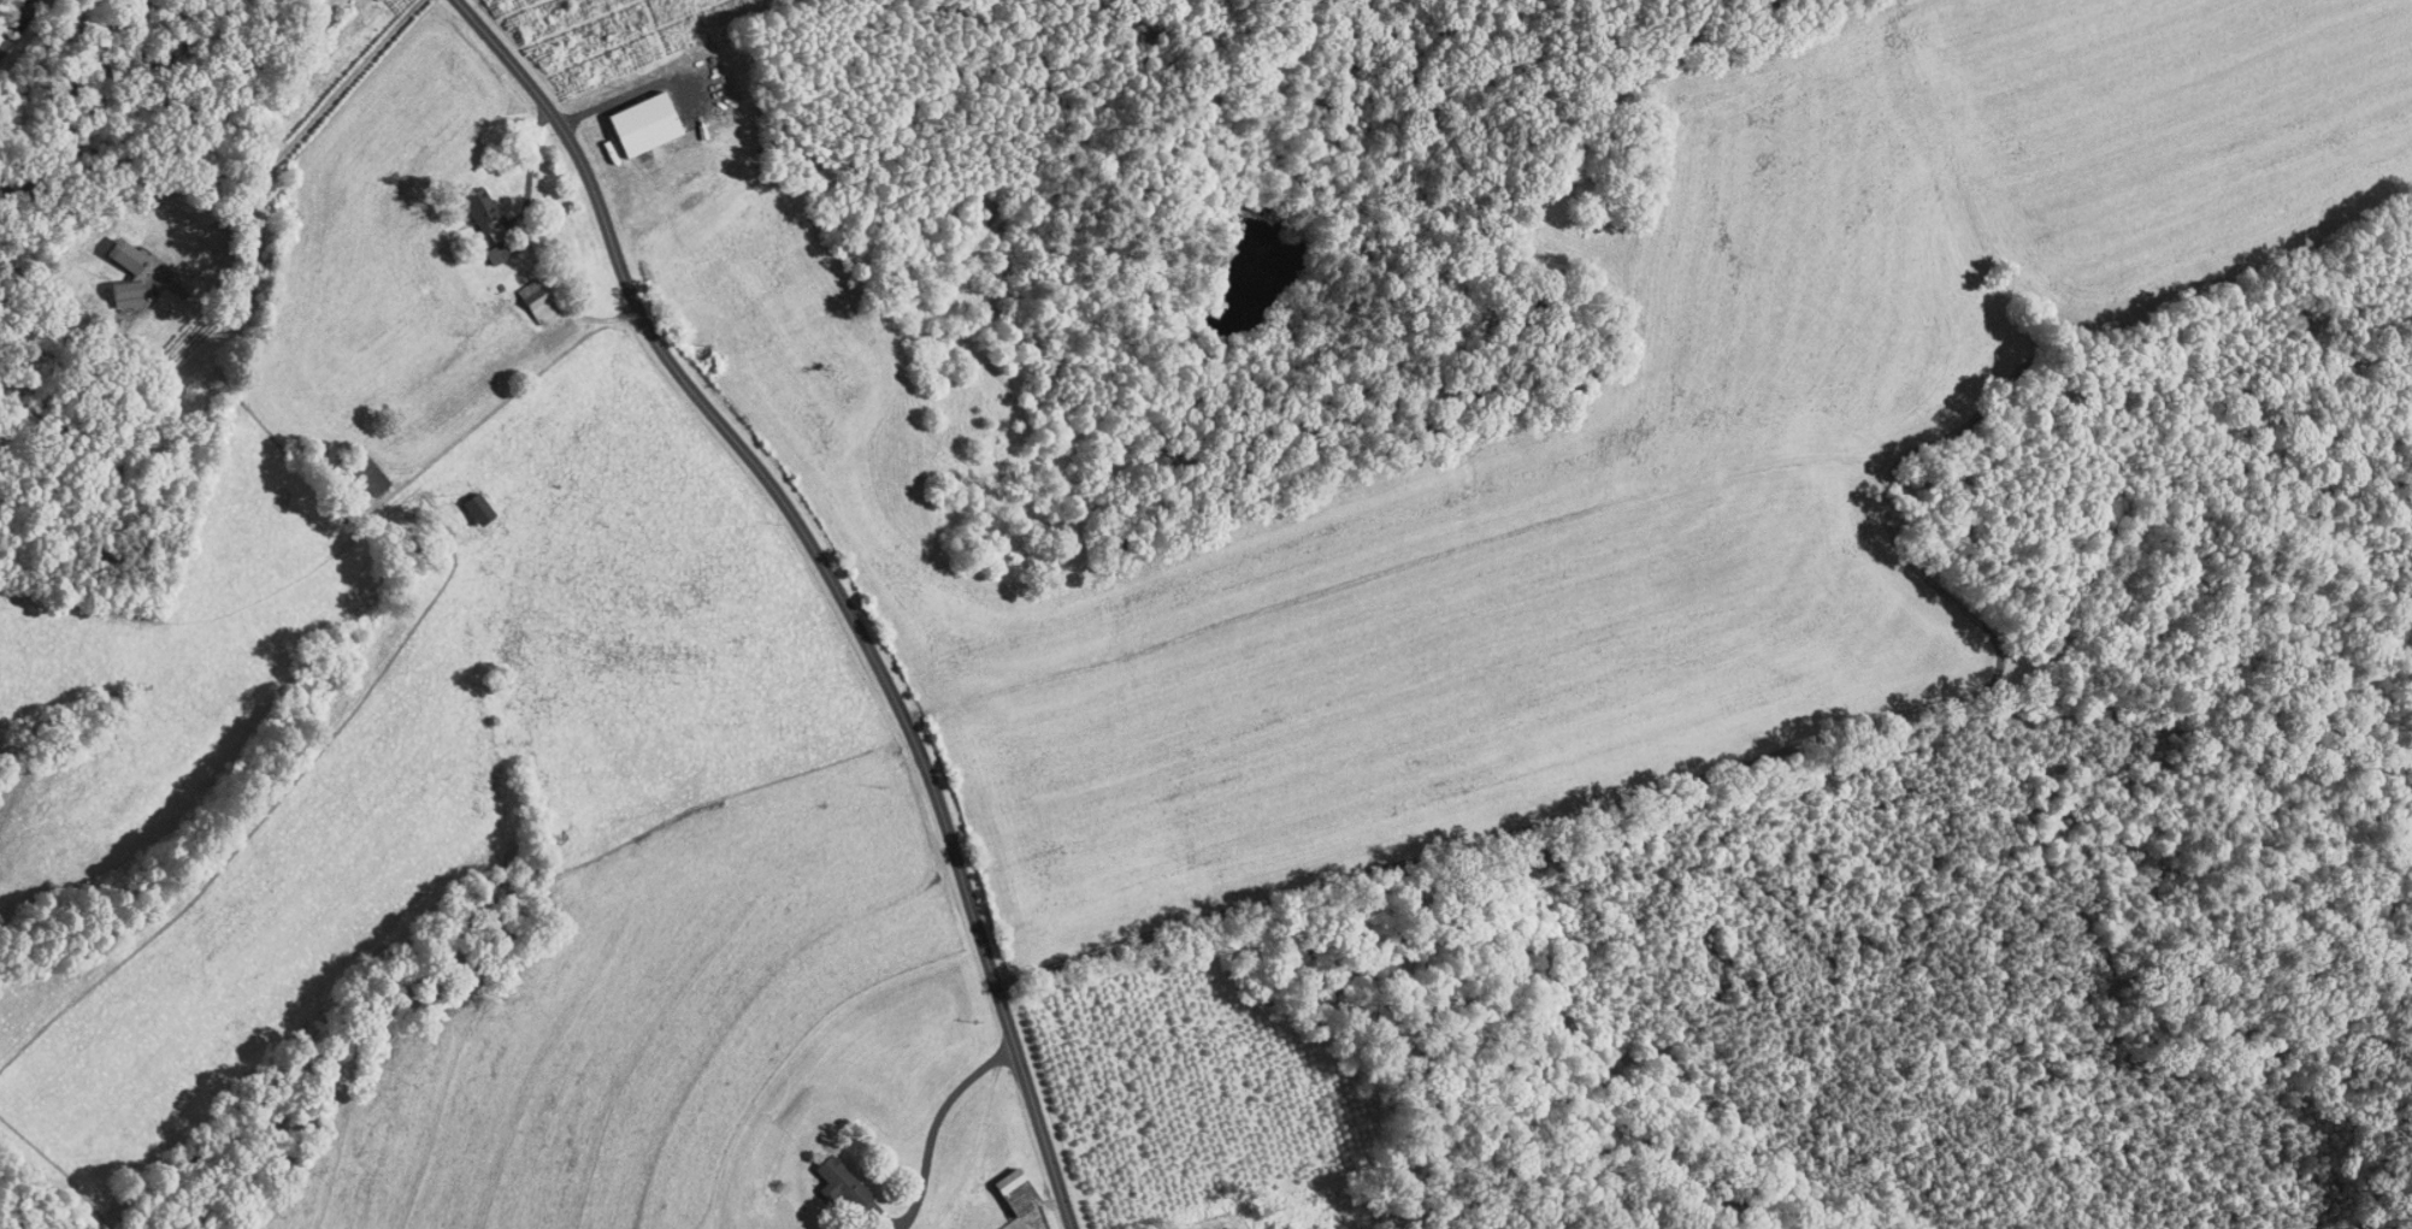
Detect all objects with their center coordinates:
road: (19, 24)
building: (624, 116)
road: (297, 134)
building: (461, 200)
building: (117, 261)
building: (518, 294)
building: (349, 465)
building: (458, 500)
road: (833, 579)
road: (1898, 674)
road: (934, 1121)
building: (821, 1172)
building: (996, 1182)
building: (985, 1228)

